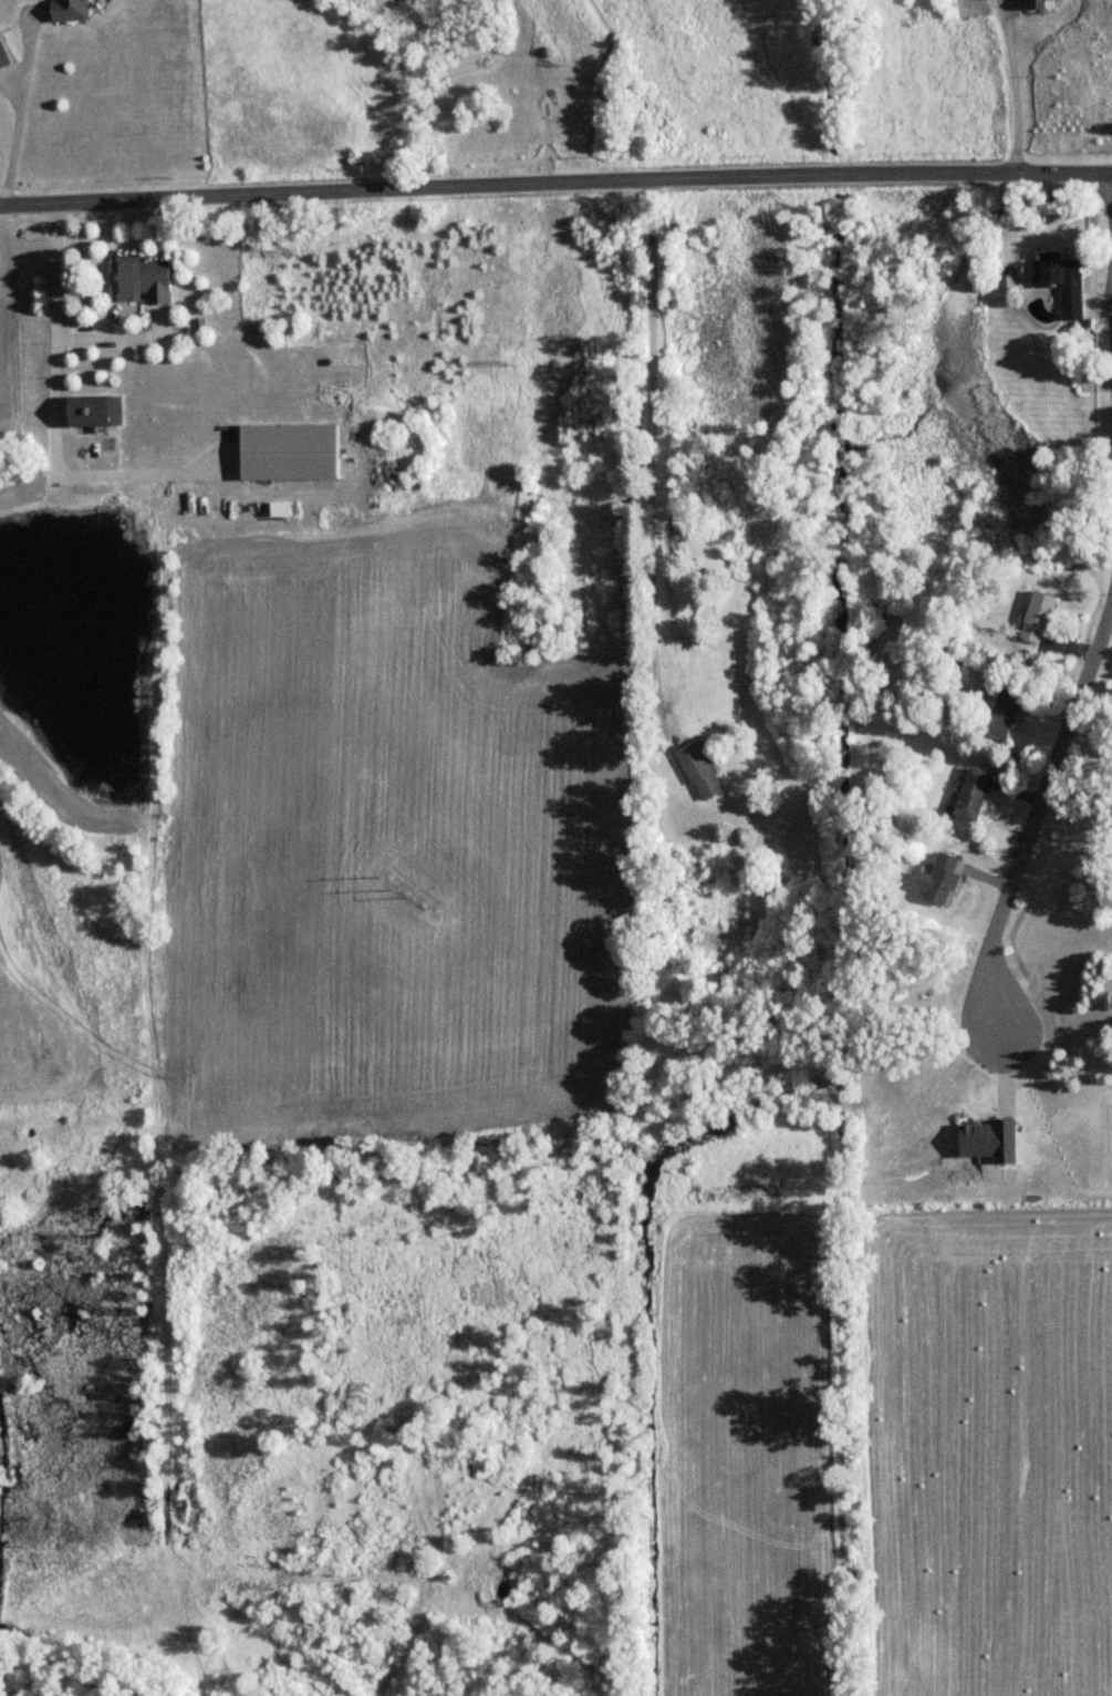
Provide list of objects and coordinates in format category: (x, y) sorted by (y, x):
building: (1045, 4)
building: (72, 10)
building: (4, 55)
road: (1016, 92)
road: (20, 111)
road: (555, 183)
building: (145, 278)
building: (1058, 278)
power tower: (511, 356)
road: (67, 401)
building: (96, 407)
building: (293, 449)
road: (643, 452)
building: (1040, 614)
building: (1007, 711)
building: (702, 768)
building: (975, 793)
road: (1036, 806)
building: (940, 878)
power tower: (396, 887)

